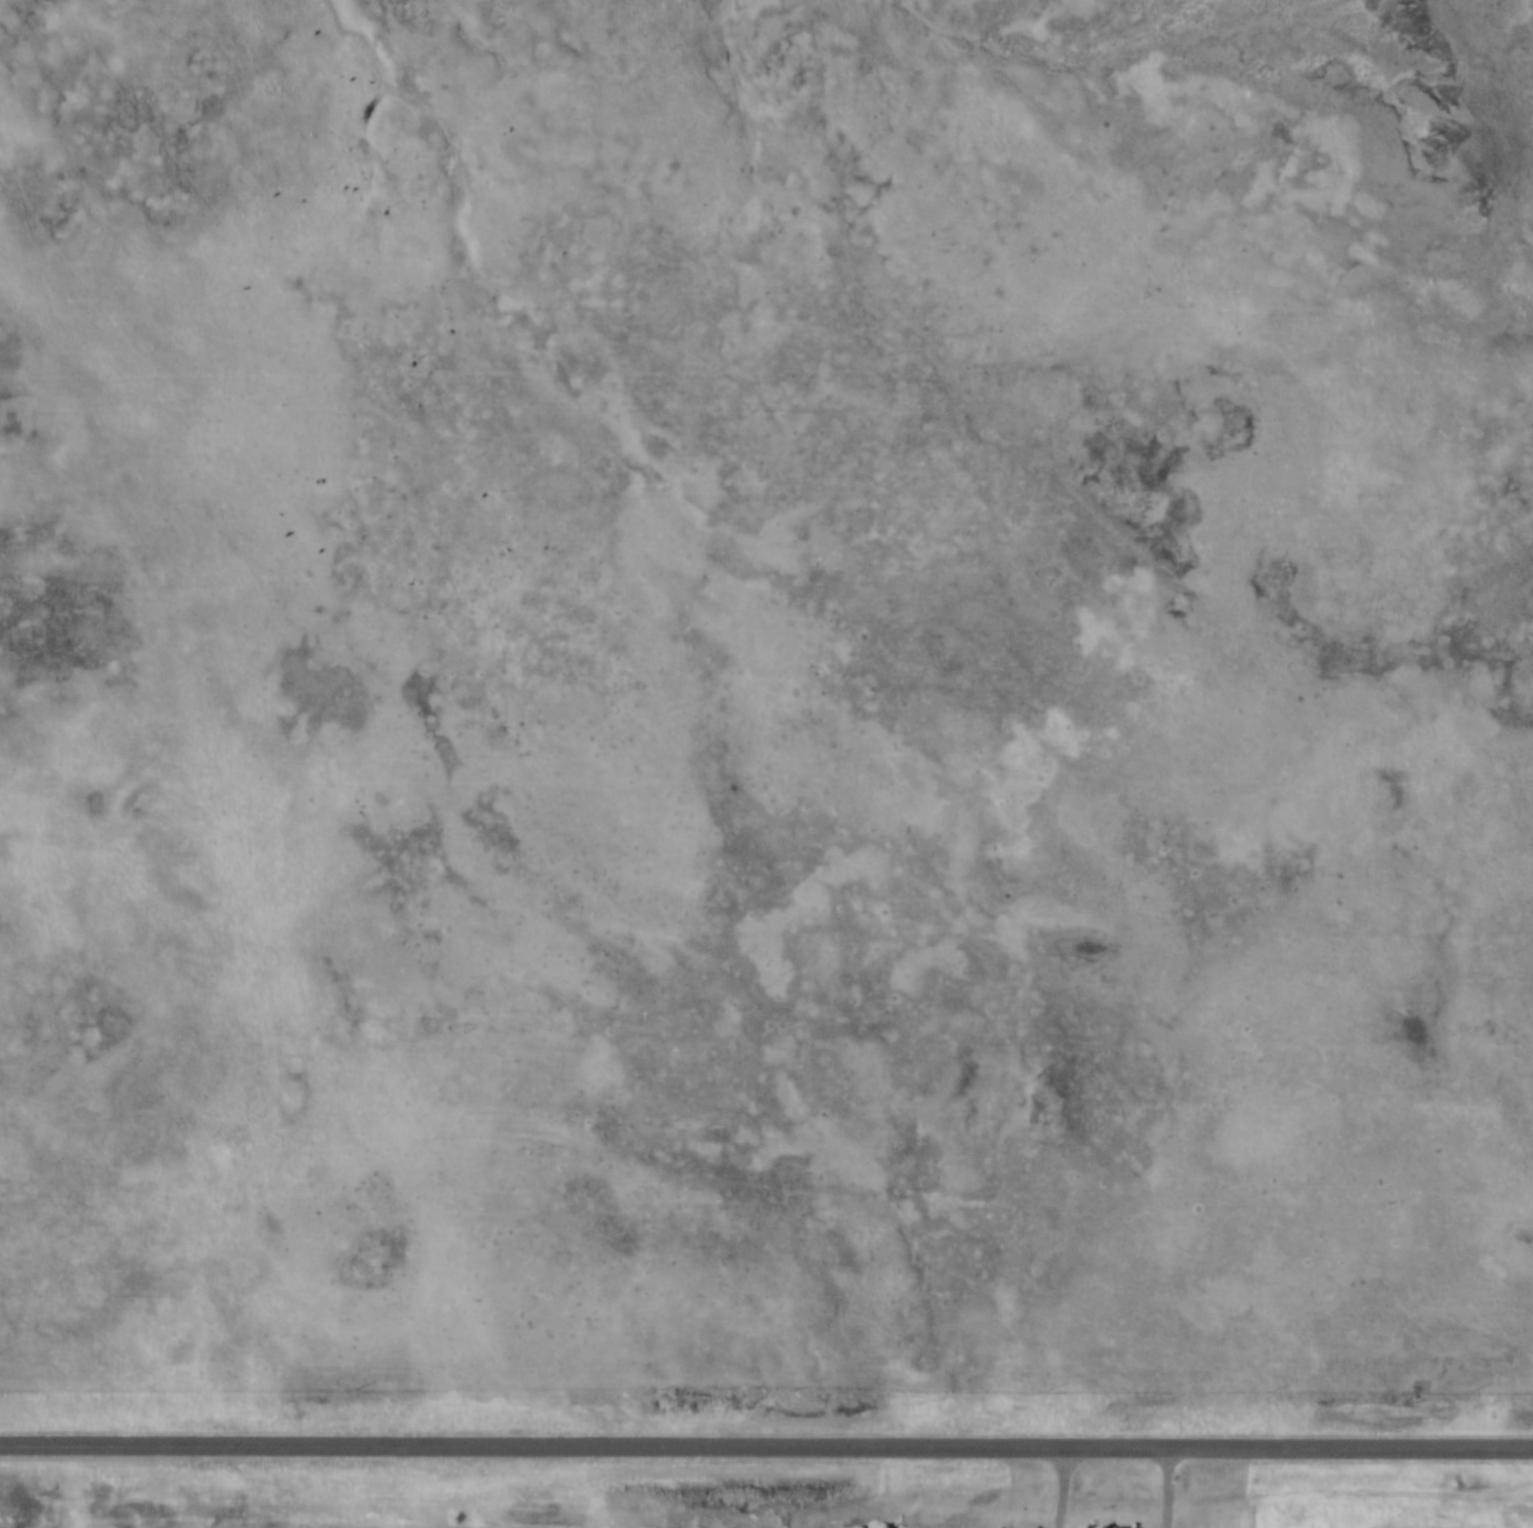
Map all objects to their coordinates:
road: (766, 1448)
road: (1067, 1489)
road: (1174, 1489)

